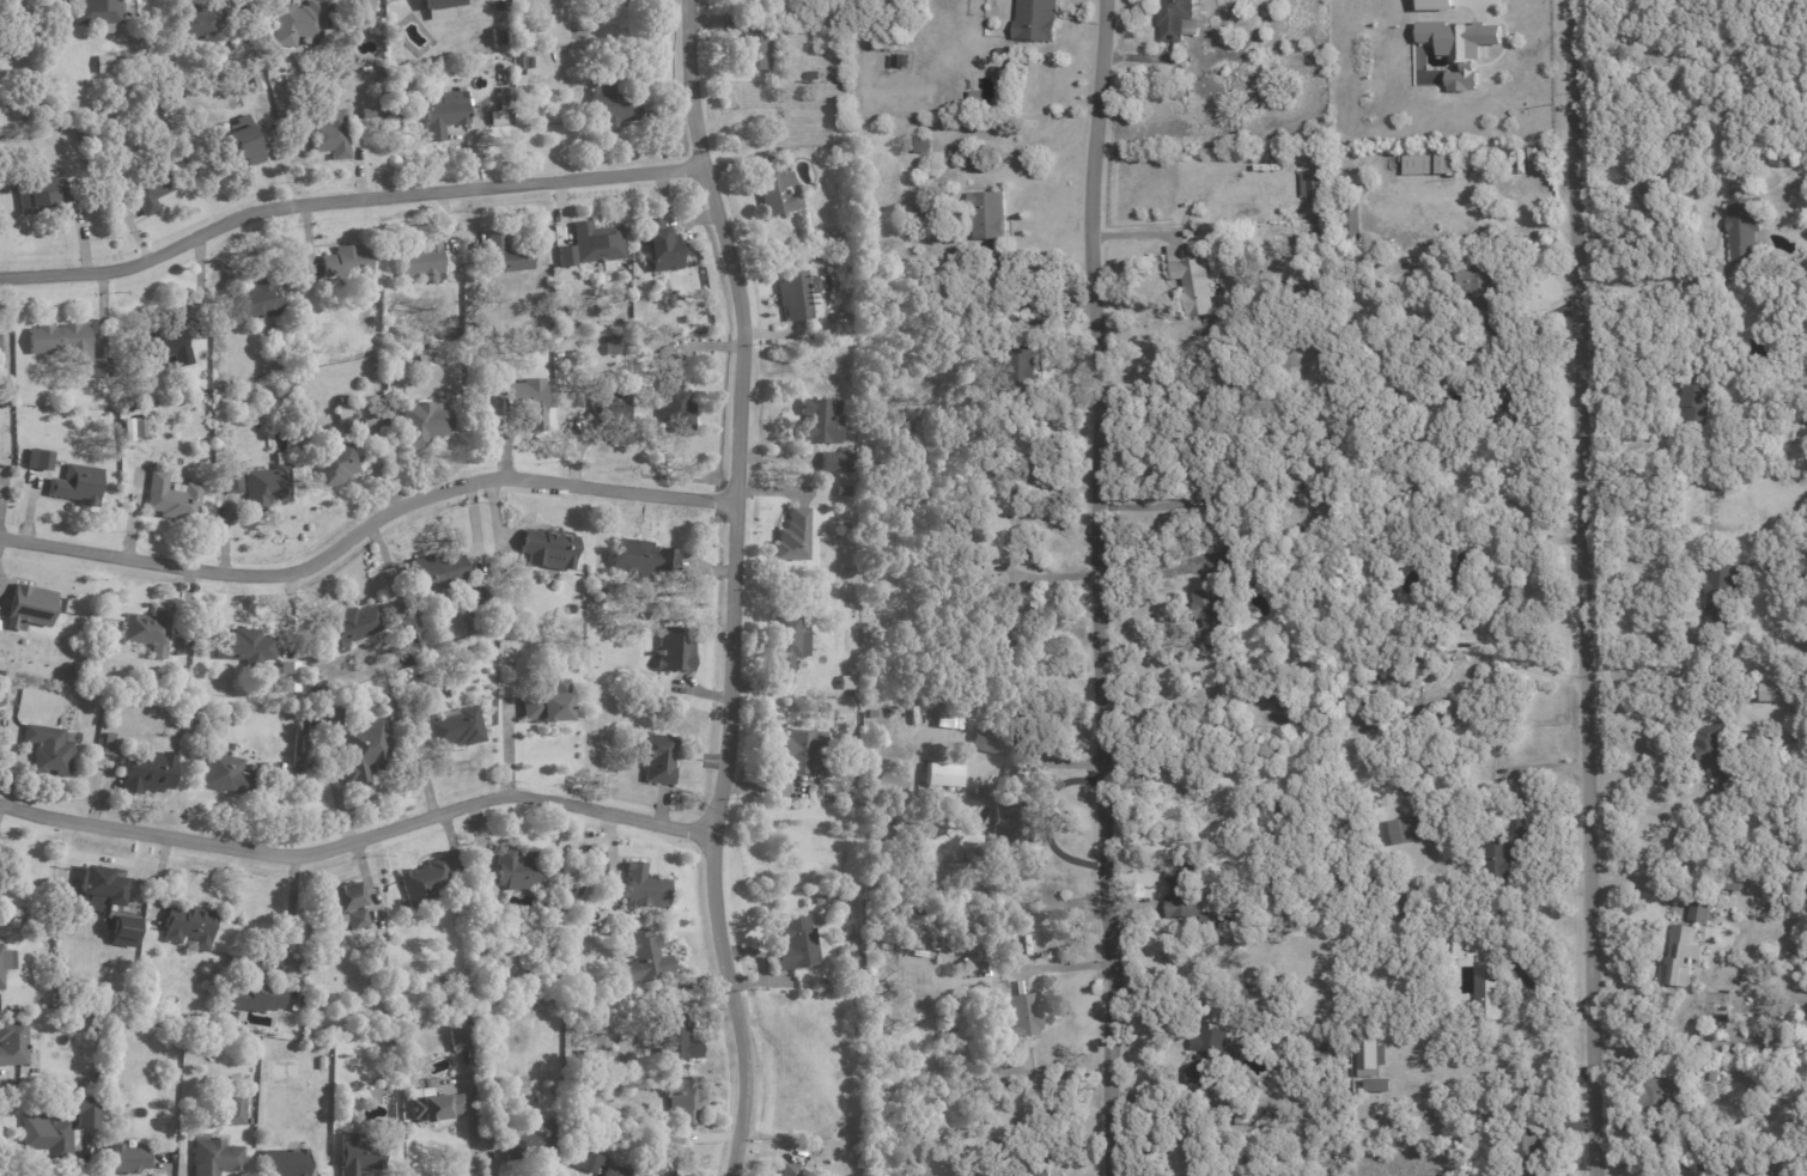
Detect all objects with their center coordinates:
building: (1435, 4)
building: (360, 5)
building: (440, 8)
building: (98, 14)
building: (1175, 20)
building: (195, 22)
building: (1034, 22)
building: (296, 25)
building: (494, 35)
building: (1460, 47)
building: (750, 51)
building: (47, 55)
building: (523, 65)
building: (102, 66)
building: (814, 77)
building: (443, 78)
building: (256, 87)
building: (503, 93)
building: (1253, 104)
building: (612, 106)
building: (365, 115)
building: (444, 116)
building: (493, 116)
building: (329, 136)
building: (238, 146)
building: (920, 147)
building: (1535, 154)
building: (953, 159)
building: (1777, 159)
building: (1426, 160)
building: (1312, 184)
building: (147, 185)
building: (775, 194)
road: (345, 196)
building: (42, 199)
building: (986, 215)
building: (1347, 221)
building: (1745, 226)
building: (592, 249)
building: (659, 249)
building: (993, 255)
building: (504, 256)
building: (422, 262)
building: (346, 266)
building: (1180, 270)
road: (1655, 280)
building: (1479, 294)
building: (795, 295)
building: (255, 301)
building: (479, 327)
building: (573, 328)
building: (165, 341)
building: (61, 343)
building: (612, 349)
building: (422, 355)
building: (394, 362)
building: (97, 370)
building: (1020, 377)
building: (279, 392)
building: (1697, 397)
building: (1508, 400)
building: (525, 404)
building: (674, 406)
building: (613, 415)
building: (1198, 415)
building: (343, 416)
building: (820, 422)
building: (422, 427)
building: (140, 429)
building: (905, 431)
building: (36, 457)
building: (832, 463)
building: (330, 465)
building: (1292, 483)
building: (75, 485)
building: (266, 489)
building: (842, 493)
building: (170, 499)
building: (1363, 500)
road: (365, 520)
building: (792, 537)
building: (548, 549)
building: (1245, 555)
building: (638, 561)
building: (1458, 566)
building: (1806, 567)
building: (436, 573)
road: (732, 587)
road: (1097, 587)
road: (1580, 587)
building: (1721, 590)
building: (31, 605)
building: (1209, 616)
building: (1010, 621)
building: (349, 626)
building: (147, 628)
road: (1647, 634)
building: (1423, 640)
building: (786, 641)
building: (177, 642)
building: (243, 645)
building: (674, 648)
building: (78, 656)
road: (1516, 658)
building: (69, 675)
building: (285, 675)
building: (847, 681)
building: (317, 682)
building: (900, 688)
building: (1773, 689)
building: (318, 691)
building: (302, 695)
building: (548, 703)
building: (190, 713)
building: (947, 720)
building: (456, 727)
building: (990, 742)
building: (109, 743)
building: (48, 749)
building: (361, 749)
building: (801, 750)
building: (1712, 751)
building: (656, 756)
building: (147, 769)
building: (224, 773)
building: (941, 773)
building: (981, 791)
building: (1276, 800)
building: (1011, 814)
building: (1411, 828)
building: (1778, 828)
road: (359, 833)
building: (1497, 851)
building: (515, 867)
building: (594, 869)
building: (426, 881)
building: (562, 882)
building: (644, 886)
building: (96, 888)
building: (1190, 888)
building: (539, 891)
building: (831, 895)
building: (346, 902)
building: (1776, 902)
building: (402, 903)
building: (1400, 903)
road: (288, 906)
building: (561, 906)
building: (1699, 910)
building: (601, 915)
building: (187, 925)
building: (123, 932)
building: (1455, 942)
building: (795, 943)
building: (1679, 956)
building: (639, 957)
building: (4, 962)
building: (376, 962)
building: (1240, 987)
building: (1491, 989)
building: (255, 992)
building: (1722, 1012)
building: (1020, 1018)
building: (457, 1031)
building: (673, 1037)
building: (13, 1042)
building: (1285, 1054)
building: (1370, 1055)
building: (1210, 1059)
building: (1714, 1072)
building: (653, 1079)
building: (1377, 1084)
building: (681, 1099)
building: (1661, 1101)
building: (433, 1104)
building: (233, 1108)
building: (60, 1128)
building: (1392, 1131)
building: (1188, 1138)
building: (530, 1139)
building: (1677, 1147)
building: (357, 1154)
building: (1528, 1154)
building: (214, 1157)
building: (124, 1158)
building: (591, 1160)
building: (285, 1162)
building: (789, 1169)
building: (1033, 1170)
building: (615, 1171)

